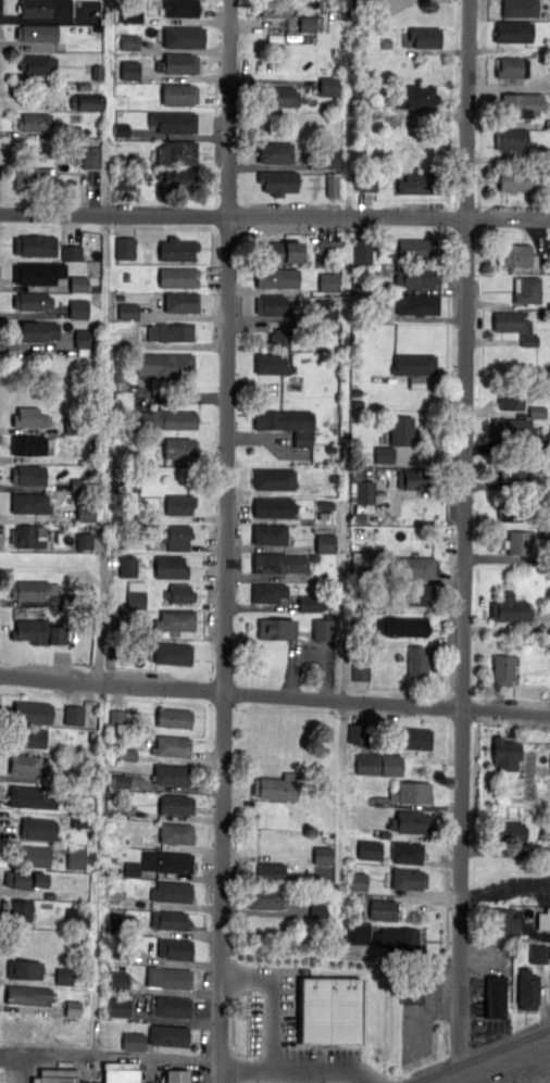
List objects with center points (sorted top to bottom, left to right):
building: (45, 8)
building: (179, 8)
building: (273, 8)
building: (518, 8)
building: (130, 15)
building: (308, 24)
building: (512, 30)
building: (36, 33)
building: (423, 36)
building: (183, 37)
building: (129, 42)
building: (36, 63)
building: (177, 63)
building: (511, 66)
building: (129, 70)
building: (328, 86)
building: (177, 93)
building: (415, 95)
building: (277, 96)
building: (87, 101)
building: (518, 104)
building: (174, 121)
building: (34, 122)
building: (121, 128)
building: (511, 139)
building: (274, 151)
building: (176, 152)
building: (90, 156)
building: (329, 158)
building: (32, 177)
building: (176, 178)
building: (515, 178)
building: (277, 181)
building: (366, 181)
building: (124, 182)
building: (417, 182)
building: (332, 185)
road: (275, 214)
building: (34, 245)
building: (125, 248)
building: (328, 248)
building: (176, 249)
building: (416, 249)
building: (362, 251)
building: (277, 252)
building: (72, 253)
building: (515, 255)
building: (37, 273)
building: (416, 276)
building: (178, 277)
building: (276, 277)
building: (328, 281)
building: (78, 284)
building: (526, 289)
building: (32, 301)
building: (180, 301)
building: (272, 304)
building: (417, 304)
building: (78, 310)
building: (326, 310)
building: (127, 312)
building: (379, 313)
building: (513, 325)
building: (35, 330)
building: (172, 331)
building: (279, 337)
building: (84, 339)
building: (273, 363)
building: (414, 364)
building: (166, 365)
building: (513, 398)
building: (537, 411)
building: (28, 417)
building: (163, 418)
building: (286, 425)
building: (512, 428)
building: (401, 429)
building: (28, 444)
building: (178, 448)
building: (384, 454)
building: (509, 471)
building: (28, 474)
building: (273, 479)
building: (415, 479)
building: (361, 491)
building: (29, 503)
building: (179, 504)
building: (273, 507)
building: (509, 511)
building: (85, 514)
road: (226, 531)
building: (268, 533)
building: (546, 533)
building: (27, 536)
building: (173, 536)
building: (84, 541)
road: (464, 541)
building: (516, 541)
building: (325, 542)
building: (278, 562)
building: (127, 566)
building: (171, 566)
building: (414, 566)
building: (33, 589)
building: (268, 592)
building: (179, 593)
building: (136, 594)
building: (417, 594)
building: (309, 603)
building: (509, 608)
road: (101, 616)
building: (175, 619)
building: (402, 625)
building: (276, 628)
building: (323, 629)
building: (37, 631)
building: (172, 653)
building: (417, 660)
building: (503, 668)
building: (360, 672)
road: (274, 694)
building: (63, 698)
building: (33, 711)
building: (73, 715)
building: (173, 717)
building: (117, 719)
building: (88, 721)
building: (358, 733)
building: (28, 736)
building: (93, 736)
building: (412, 738)
building: (172, 745)
building: (504, 753)
building: (124, 754)
building: (25, 764)
building: (378, 765)
building: (171, 775)
building: (121, 781)
building: (275, 786)
building: (411, 792)
building: (33, 796)
building: (378, 801)
building: (175, 804)
building: (123, 810)
building: (78, 821)
building: (409, 822)
building: (38, 829)
building: (509, 831)
building: (176, 833)
building: (383, 834)
building: (122, 842)
building: (59, 847)
building: (368, 849)
building: (407, 852)
building: (322, 855)
building: (28, 856)
building: (75, 858)
building: (166, 861)
building: (132, 869)
building: (267, 872)
building: (24, 879)
building: (408, 879)
building: (357, 881)
building: (171, 891)
building: (49, 895)
building: (265, 897)
building: (17, 909)
building: (317, 909)
building: (383, 909)
building: (357, 914)
building: (77, 918)
building: (117, 918)
building: (543, 919)
building: (170, 920)
building: (502, 921)
building: (357, 934)
building: (396, 937)
building: (175, 948)
building: (538, 954)
road: (483, 958)
building: (23, 969)
building: (63, 975)
building: (167, 977)
building: (118, 981)
parking lot: (488, 986)
building: (527, 988)
road: (276, 993)
road: (478, 993)
building: (412, 995)
building: (28, 996)
building: (493, 999)
building: (143, 1003)
building: (117, 1007)
building: (171, 1007)
building: (72, 1008)
road: (421, 1008)
building: (329, 1009)
parking lot: (422, 1009)
building: (167, 1035)
building: (133, 1041)
parking lot: (295, 1046)
road: (108, 1056)
road: (504, 1063)
road: (299, 1065)
road: (29, 1068)
road: (195, 1072)
road: (217, 1072)
building: (120, 1075)
building: (61, 1076)
building: (173, 1076)
parking lot: (197, 1076)

